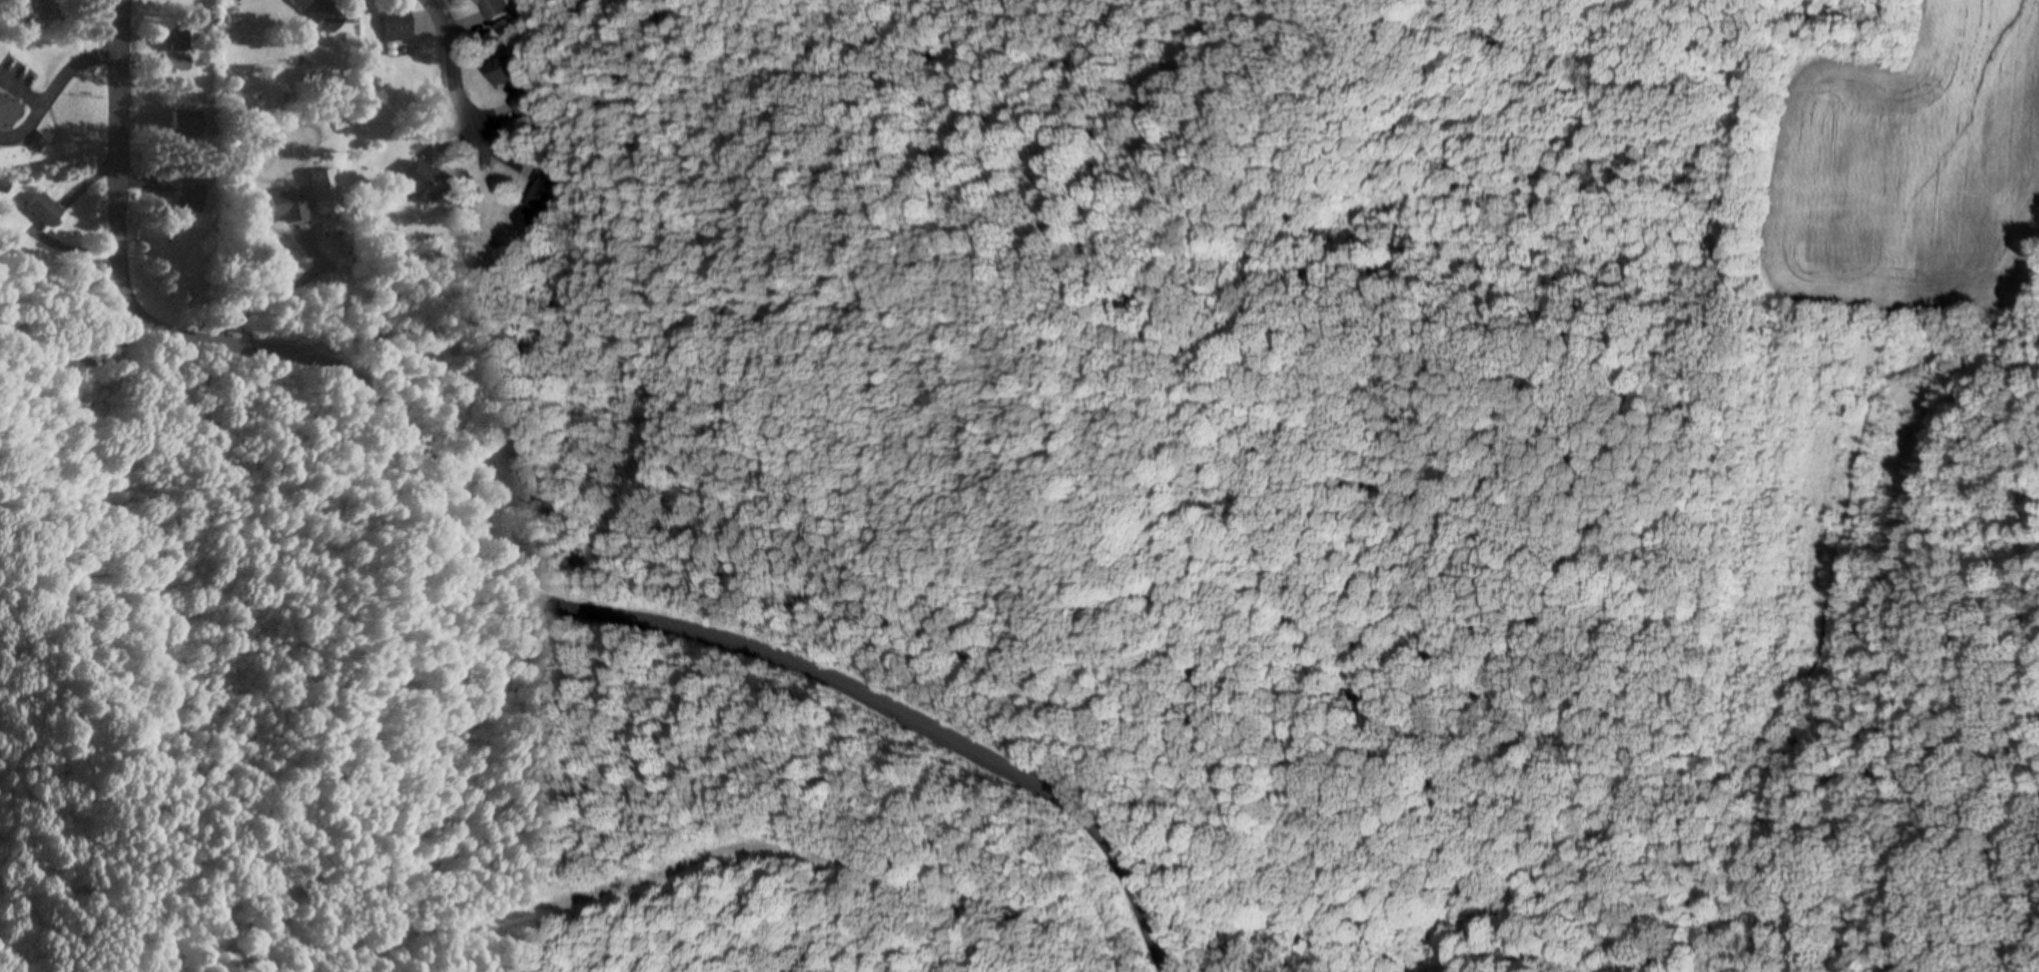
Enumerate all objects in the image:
building: (498, 9)
park: (0, 14)
building: (321, 15)
building: (399, 27)
building: (179, 37)
building: (180, 64)
road: (451, 66)
building: (514, 83)
road: (120, 112)
building: (9, 114)
building: (186, 124)
crop: (1905, 165)
building: (428, 180)
building: (543, 194)
building: (189, 198)
building: (292, 206)
building: (46, 210)
road: (622, 617)
park: (1557, 632)
road: (661, 881)

